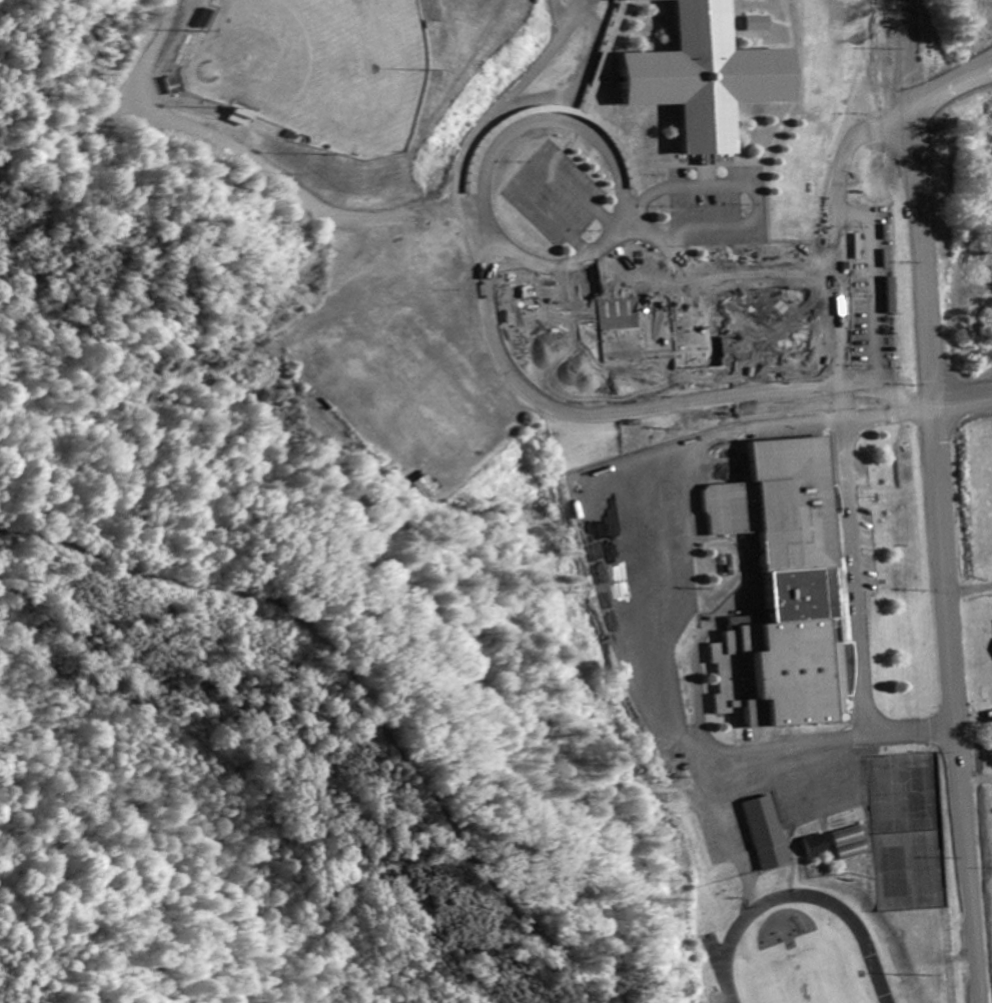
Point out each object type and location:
building: (762, 25)
building: (712, 77)
road: (495, 153)
road: (922, 219)
building: (891, 297)
road: (741, 299)
road: (964, 405)
road: (847, 446)
building: (789, 593)
road: (957, 708)
building: (768, 835)
building: (852, 845)
building: (818, 847)

